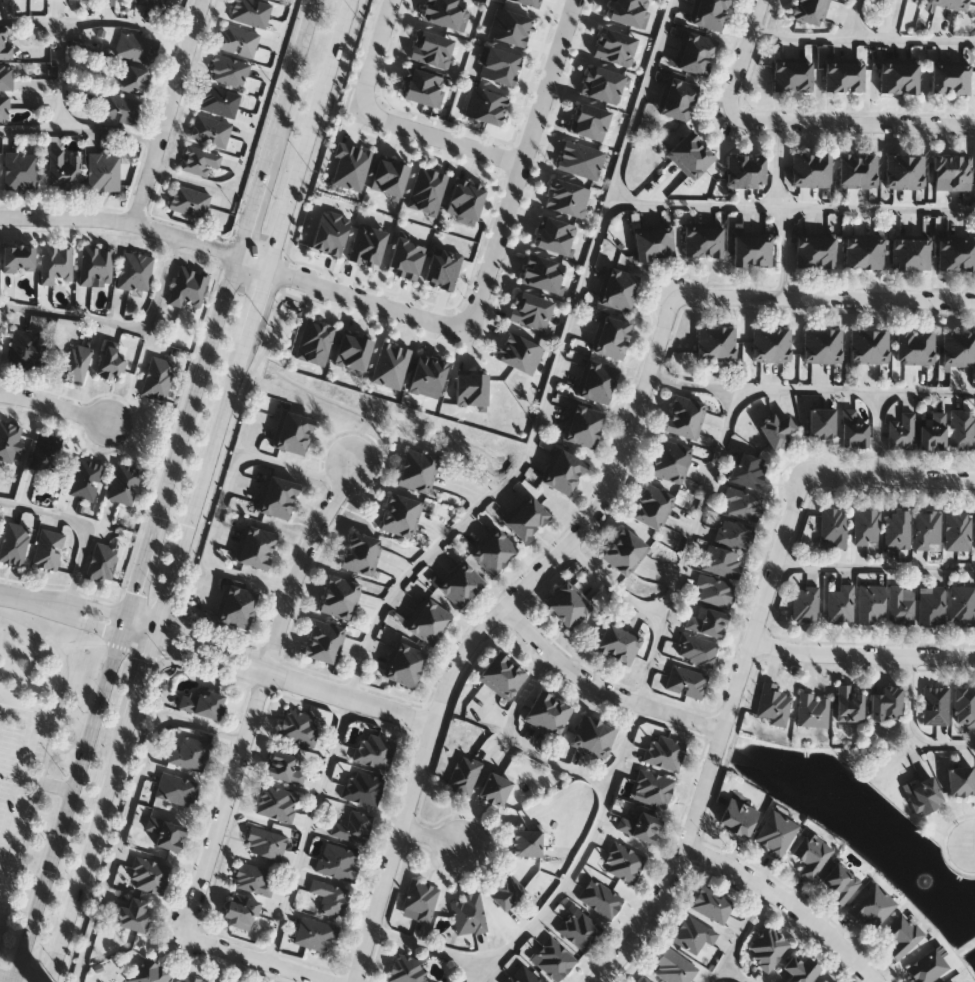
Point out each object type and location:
building: (110, 0)
building: (278, 0)
building: (817, 2)
building: (938, 2)
building: (152, 4)
building: (713, 4)
building: (957, 4)
building: (250, 12)
building: (807, 12)
building: (707, 17)
road: (850, 19)
road: (96, 20)
road: (797, 37)
road: (909, 38)
building: (237, 41)
building: (5, 44)
building: (699, 44)
building: (135, 48)
road: (743, 55)
road: (378, 56)
building: (694, 62)
building: (228, 71)
road: (62, 74)
building: (782, 74)
building: (801, 74)
building: (834, 76)
building: (853, 76)
building: (889, 76)
building: (908, 76)
building: (6, 78)
building: (940, 78)
building: (959, 78)
building: (132, 80)
road: (291, 83)
building: (681, 89)
road: (639, 100)
building: (219, 102)
building: (675, 107)
building: (4, 110)
building: (120, 110)
road: (169, 113)
road: (852, 123)
road: (80, 130)
building: (209, 132)
road: (254, 136)
road: (442, 138)
building: (684, 148)
building: (199, 162)
road: (523, 162)
building: (698, 162)
road: (777, 163)
road: (138, 164)
building: (63, 170)
building: (800, 170)
building: (819, 170)
building: (847, 170)
building: (866, 170)
building: (735, 171)
building: (754, 171)
building: (20, 172)
building: (103, 172)
building: (894, 172)
building: (913, 172)
building: (942, 172)
building: (960, 172)
building: (189, 202)
road: (692, 203)
road: (876, 206)
road: (252, 211)
road: (121, 224)
road: (197, 231)
building: (663, 241)
building: (693, 241)
building: (712, 241)
building: (644, 243)
building: (742, 249)
building: (761, 249)
road: (783, 250)
building: (805, 250)
building: (824, 250)
road: (225, 251)
building: (854, 253)
building: (873, 253)
building: (900, 253)
building: (919, 253)
building: (947, 254)
building: (966, 254)
building: (18, 260)
road: (252, 260)
building: (56, 264)
building: (96, 267)
building: (134, 273)
building: (619, 279)
building: (187, 287)
road: (824, 295)
road: (365, 297)
building: (614, 298)
road: (117, 322)
building: (615, 328)
building: (0, 332)
building: (706, 343)
building: (725, 343)
building: (761, 345)
building: (780, 345)
building: (813, 345)
building: (831, 345)
building: (858, 346)
building: (877, 346)
building: (610, 347)
building: (905, 347)
building: (924, 347)
building: (951, 349)
building: (968, 349)
building: (24, 350)
building: (112, 363)
building: (76, 365)
building: (600, 373)
building: (157, 379)
road: (183, 379)
road: (810, 389)
building: (595, 391)
road: (196, 396)
building: (687, 407)
road: (54, 411)
building: (586, 416)
building: (296, 423)
building: (821, 423)
road: (135, 425)
building: (682, 425)
building: (853, 428)
building: (961, 429)
building: (776, 430)
building: (900, 432)
building: (933, 432)
building: (581, 435)
road: (877, 435)
building: (9, 441)
building: (291, 441)
building: (673, 451)
building: (44, 454)
road: (227, 457)
building: (419, 461)
building: (569, 464)
building: (667, 470)
building: (748, 470)
road: (516, 472)
road: (891, 479)
building: (85, 480)
building: (414, 480)
building: (560, 480)
building: (123, 485)
building: (281, 488)
road: (196, 490)
road: (224, 497)
building: (656, 498)
road: (703, 503)
building: (742, 503)
building: (404, 506)
building: (275, 507)
building: (533, 511)
building: (648, 515)
road: (80, 525)
building: (398, 525)
building: (520, 525)
building: (833, 527)
building: (866, 527)
building: (896, 530)
building: (927, 530)
building: (957, 530)
building: (733, 534)
building: (259, 538)
building: (12, 544)
building: (364, 544)
building: (630, 544)
building: (501, 546)
building: (46, 549)
building: (253, 557)
road: (777, 557)
building: (487, 559)
building: (619, 560)
building: (721, 562)
building: (101, 563)
building: (359, 563)
road: (875, 566)
road: (143, 576)
building: (468, 579)
road: (613, 585)
building: (342, 588)
building: (713, 590)
building: (454, 592)
building: (240, 598)
building: (560, 599)
road: (31, 600)
building: (805, 604)
building: (840, 604)
building: (870, 605)
building: (962, 605)
building: (900, 606)
building: (932, 606)
road: (97, 607)
building: (336, 607)
building: (573, 613)
building: (433, 614)
building: (234, 617)
road: (487, 622)
building: (707, 623)
road: (128, 627)
road: (89, 628)
building: (424, 630)
building: (326, 633)
road: (201, 638)
building: (609, 640)
road: (78, 643)
building: (626, 648)
building: (696, 650)
building: (321, 651)
road: (861, 653)
building: (407, 656)
road: (193, 658)
road: (154, 660)
road: (651, 660)
building: (493, 671)
building: (400, 674)
road: (62, 681)
building: (510, 682)
building: (685, 682)
road: (602, 687)
road: (254, 695)
road: (347, 696)
building: (202, 702)
building: (849, 704)
building: (886, 704)
building: (773, 705)
building: (935, 706)
building: (964, 706)
building: (539, 709)
building: (812, 711)
building: (555, 718)
road: (909, 725)
building: (298, 728)
building: (583, 734)
building: (601, 740)
road: (520, 741)
park: (35, 744)
building: (373, 751)
building: (664, 752)
building: (189, 754)
building: (284, 768)
road: (130, 774)
building: (464, 776)
road: (22, 778)
building: (960, 781)
parking lot: (17, 782)
road: (46, 783)
building: (362, 788)
building: (177, 789)
building: (494, 789)
building: (652, 789)
building: (923, 796)
building: (275, 803)
road: (65, 809)
road: (128, 810)
building: (737, 819)
road: (691, 820)
building: (352, 827)
building: (640, 827)
road: (308, 829)
road: (429, 832)
building: (165, 833)
road: (971, 833)
building: (774, 834)
building: (265, 843)
building: (527, 843)
road: (581, 854)
building: (811, 855)
building: (337, 862)
building: (623, 862)
road: (20, 866)
building: (149, 876)
building: (254, 879)
building: (840, 882)
building: (505, 890)
building: (329, 898)
building: (600, 899)
building: (418, 900)
road: (786, 903)
building: (710, 904)
building: (872, 906)
building: (240, 912)
building: (467, 914)
building: (132, 915)
building: (578, 929)
building: (692, 934)
building: (315, 935)
building: (902, 936)
road: (734, 938)
road: (432, 947)
building: (767, 948)
road: (260, 959)
building: (553, 959)
building: (673, 967)
building: (927, 967)
building: (407, 969)
building: (799, 969)
building: (150, 971)
road: (715, 971)
building: (522, 975)
road: (7, 977)
building: (191, 979)
road: (20, 980)
building: (644, 980)
building: (222, 981)
building: (822, 981)
building: (824, 981)

